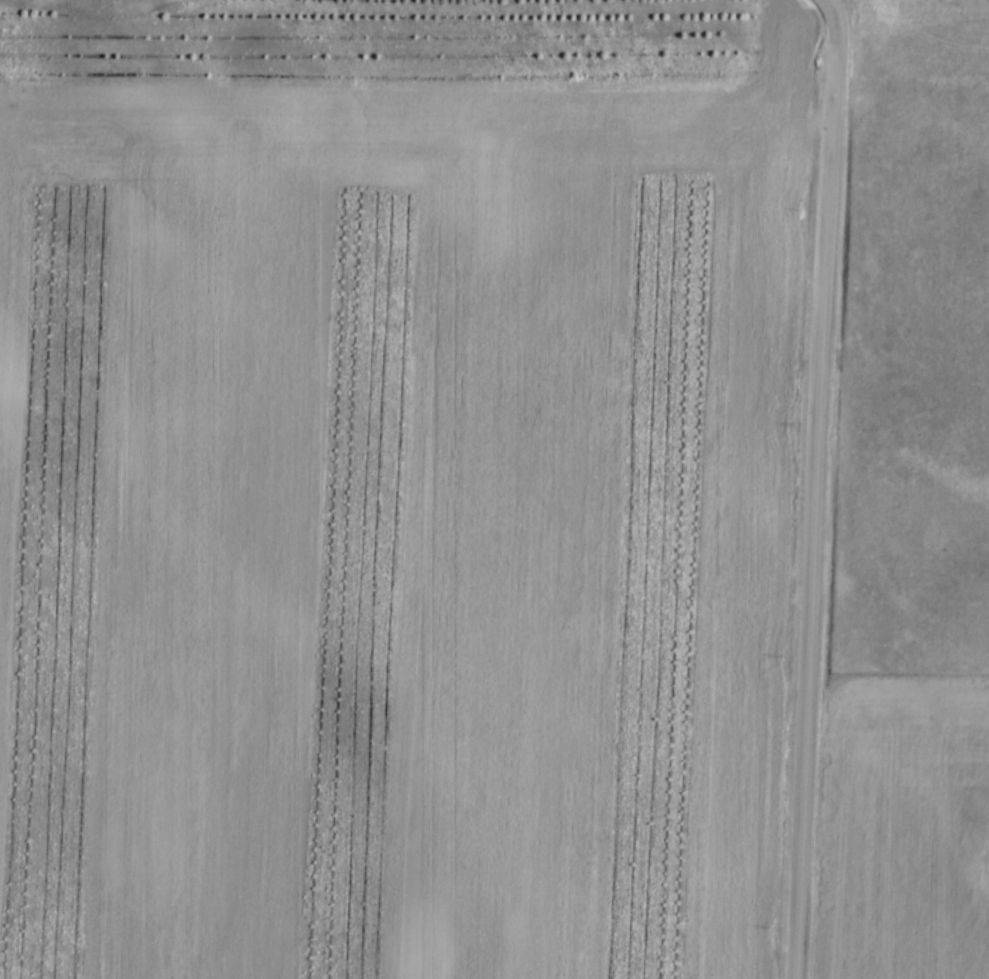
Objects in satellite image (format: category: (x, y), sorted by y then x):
road: (809, 488)
crop: (395, 521)
crop: (903, 828)

